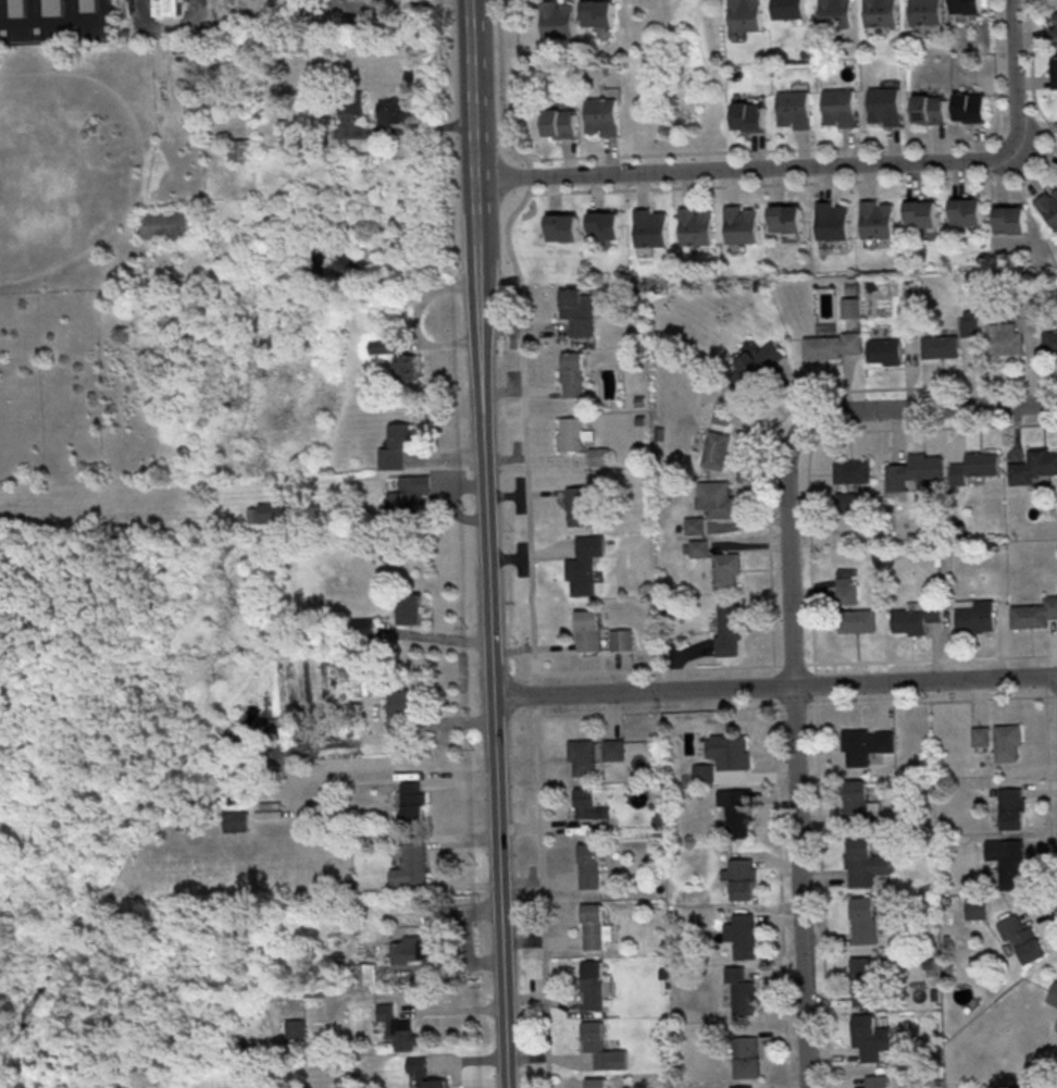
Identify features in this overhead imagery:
building: (88, 4)
building: (966, 5)
building: (52, 7)
building: (166, 7)
building: (15, 8)
building: (788, 9)
building: (880, 12)
building: (925, 12)
building: (597, 13)
building: (835, 13)
building: (743, 17)
building: (556, 20)
road: (161, 25)
road: (60, 26)
building: (1054, 29)
building: (1055, 72)
building: (884, 104)
building: (353, 107)
building: (838, 107)
building: (970, 107)
building: (793, 108)
building: (929, 109)
building: (396, 110)
building: (602, 112)
building: (748, 115)
building: (559, 122)
building: (241, 149)
road: (820, 166)
building: (1049, 206)
building: (966, 211)
building: (921, 212)
building: (785, 218)
building: (875, 219)
building: (1009, 219)
building: (831, 220)
building: (165, 223)
building: (606, 223)
building: (739, 224)
building: (694, 225)
building: (562, 226)
building: (649, 227)
building: (849, 307)
building: (577, 310)
building: (1028, 314)
building: (907, 321)
building: (969, 323)
building: (1004, 339)
building: (1049, 342)
building: (383, 344)
building: (831, 345)
building: (941, 345)
building: (884, 350)
building: (763, 358)
building: (406, 366)
building: (572, 373)
building: (721, 415)
road: (799, 429)
building: (572, 433)
building: (397, 445)
building: (714, 449)
building: (598, 456)
building: (1033, 466)
building: (974, 467)
building: (851, 470)
building: (915, 471)
building: (408, 495)
building: (716, 498)
building: (846, 500)
building: (576, 505)
building: (273, 512)
building: (694, 524)
road: (487, 544)
building: (698, 547)
building: (583, 564)
building: (725, 569)
building: (845, 590)
building: (410, 608)
building: (1034, 613)
building: (916, 616)
building: (975, 616)
building: (857, 619)
building: (362, 627)
building: (728, 629)
building: (598, 633)
road: (774, 687)
building: (399, 702)
building: (980, 734)
building: (1007, 741)
building: (866, 744)
building: (612, 749)
building: (729, 751)
building: (581, 756)
building: (702, 772)
building: (856, 799)
building: (412, 801)
building: (587, 803)
building: (1011, 807)
building: (736, 811)
building: (235, 820)
building: (1007, 861)
building: (866, 862)
building: (410, 863)
road: (439, 863)
building: (588, 865)
building: (741, 878)
road: (801, 887)
building: (975, 907)
building: (863, 919)
building: (594, 926)
building: (742, 935)
building: (1021, 938)
building: (412, 948)
building: (368, 973)
building: (863, 980)
building: (594, 985)
building: (741, 990)
building: (1053, 992)
building: (398, 1027)
building: (295, 1028)
building: (870, 1037)
building: (601, 1047)
building: (746, 1056)
building: (423, 1073)
building: (875, 1080)
building: (596, 1081)
building: (741, 1086)

